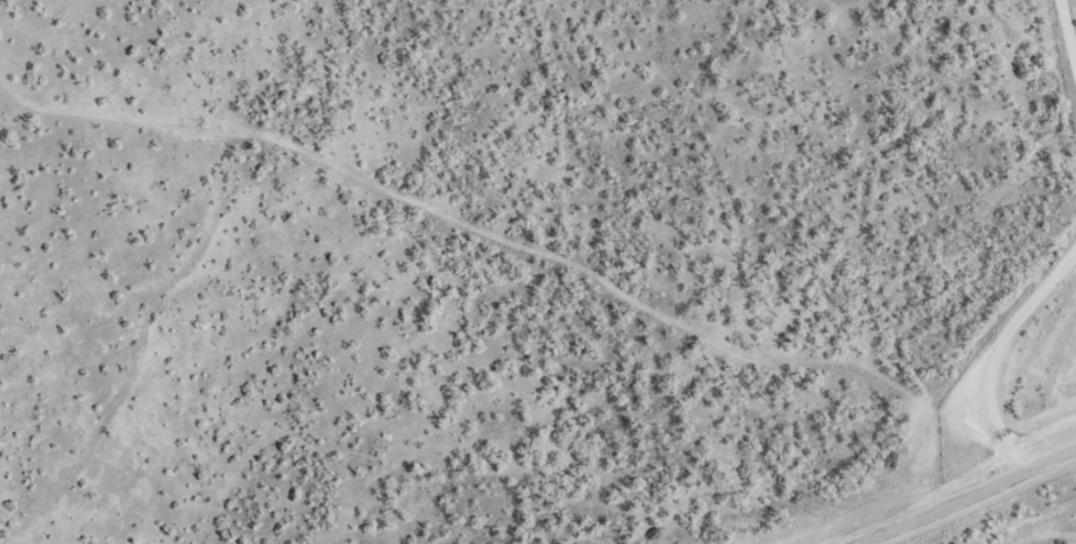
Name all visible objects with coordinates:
road: (1040, 489)

